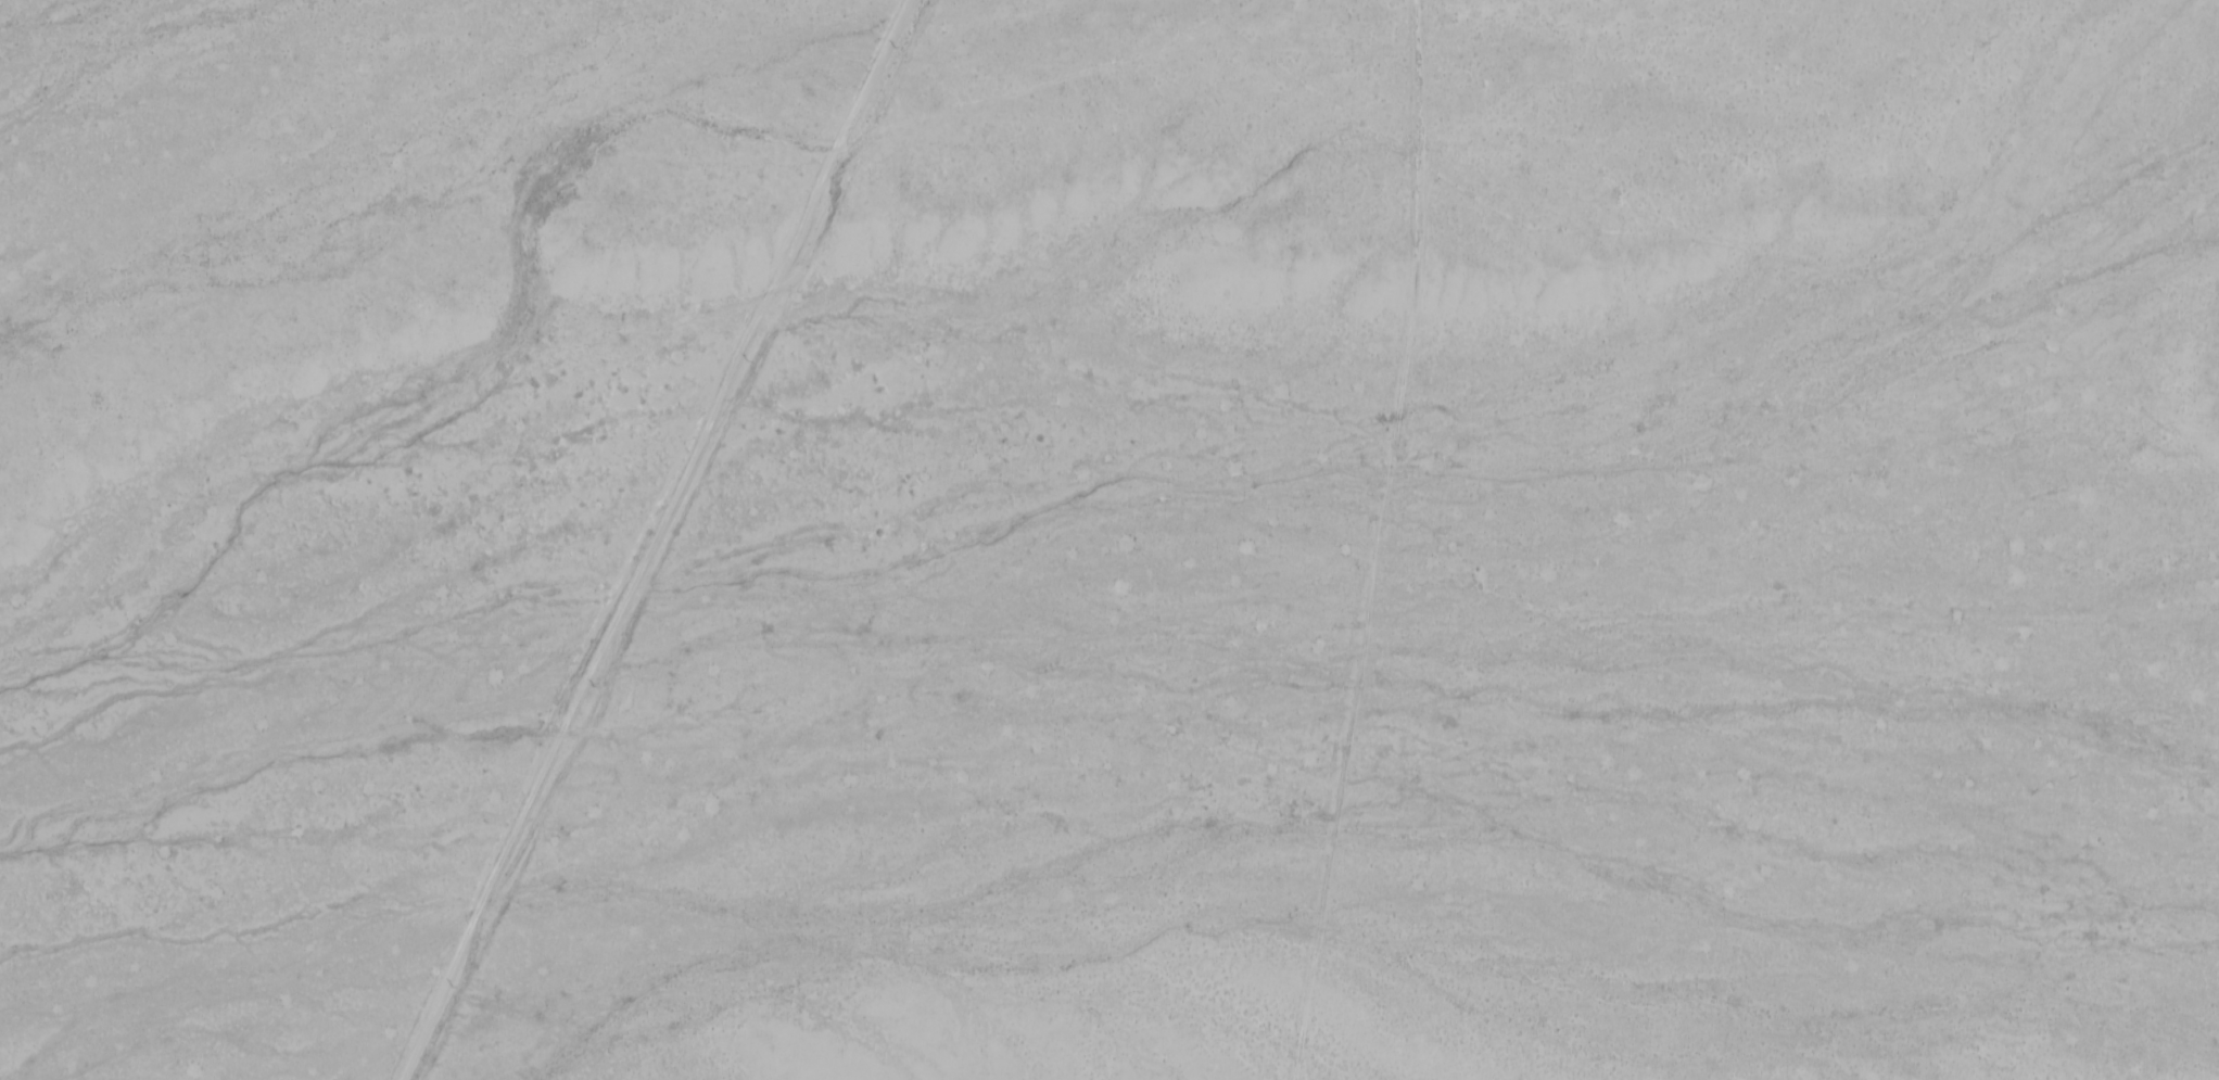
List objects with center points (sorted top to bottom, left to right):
road: (665, 539)

